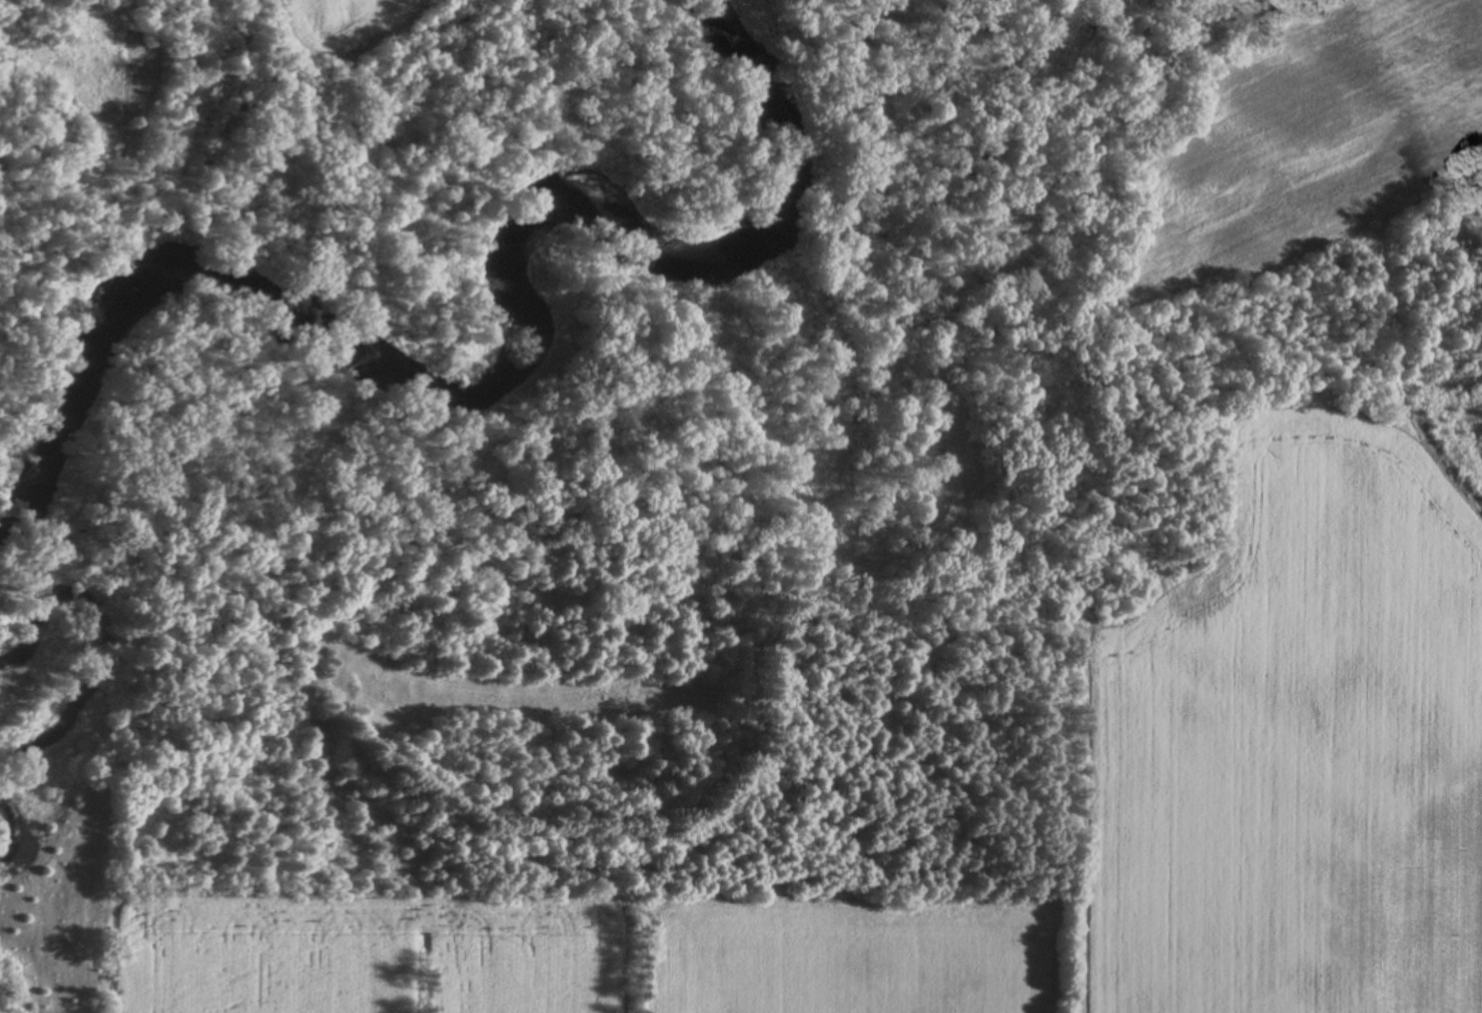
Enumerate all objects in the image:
river: (700, 205)
river: (199, 283)
river: (486, 352)
river: (18, 490)

